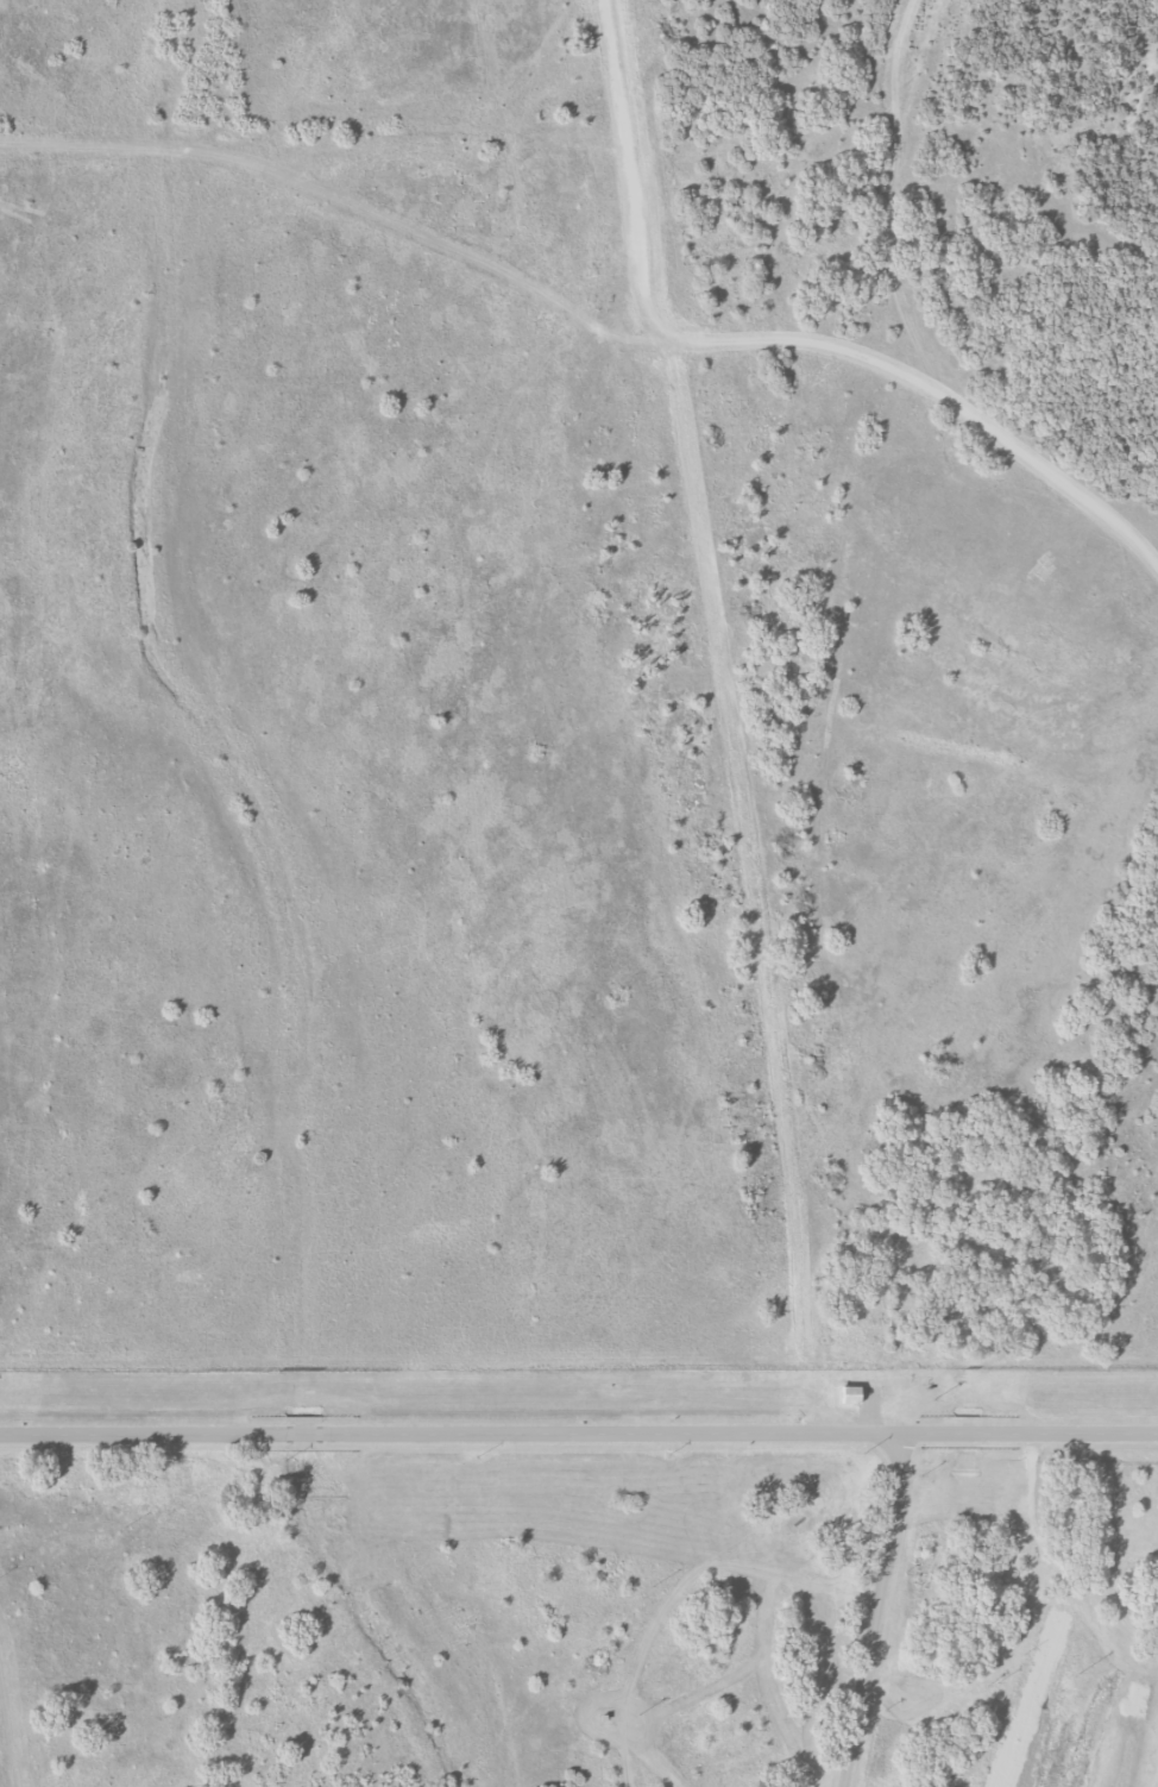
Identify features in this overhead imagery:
building: (926, 1388)
building: (850, 1394)
road: (579, 1432)
road: (876, 1609)
road: (1124, 1612)

